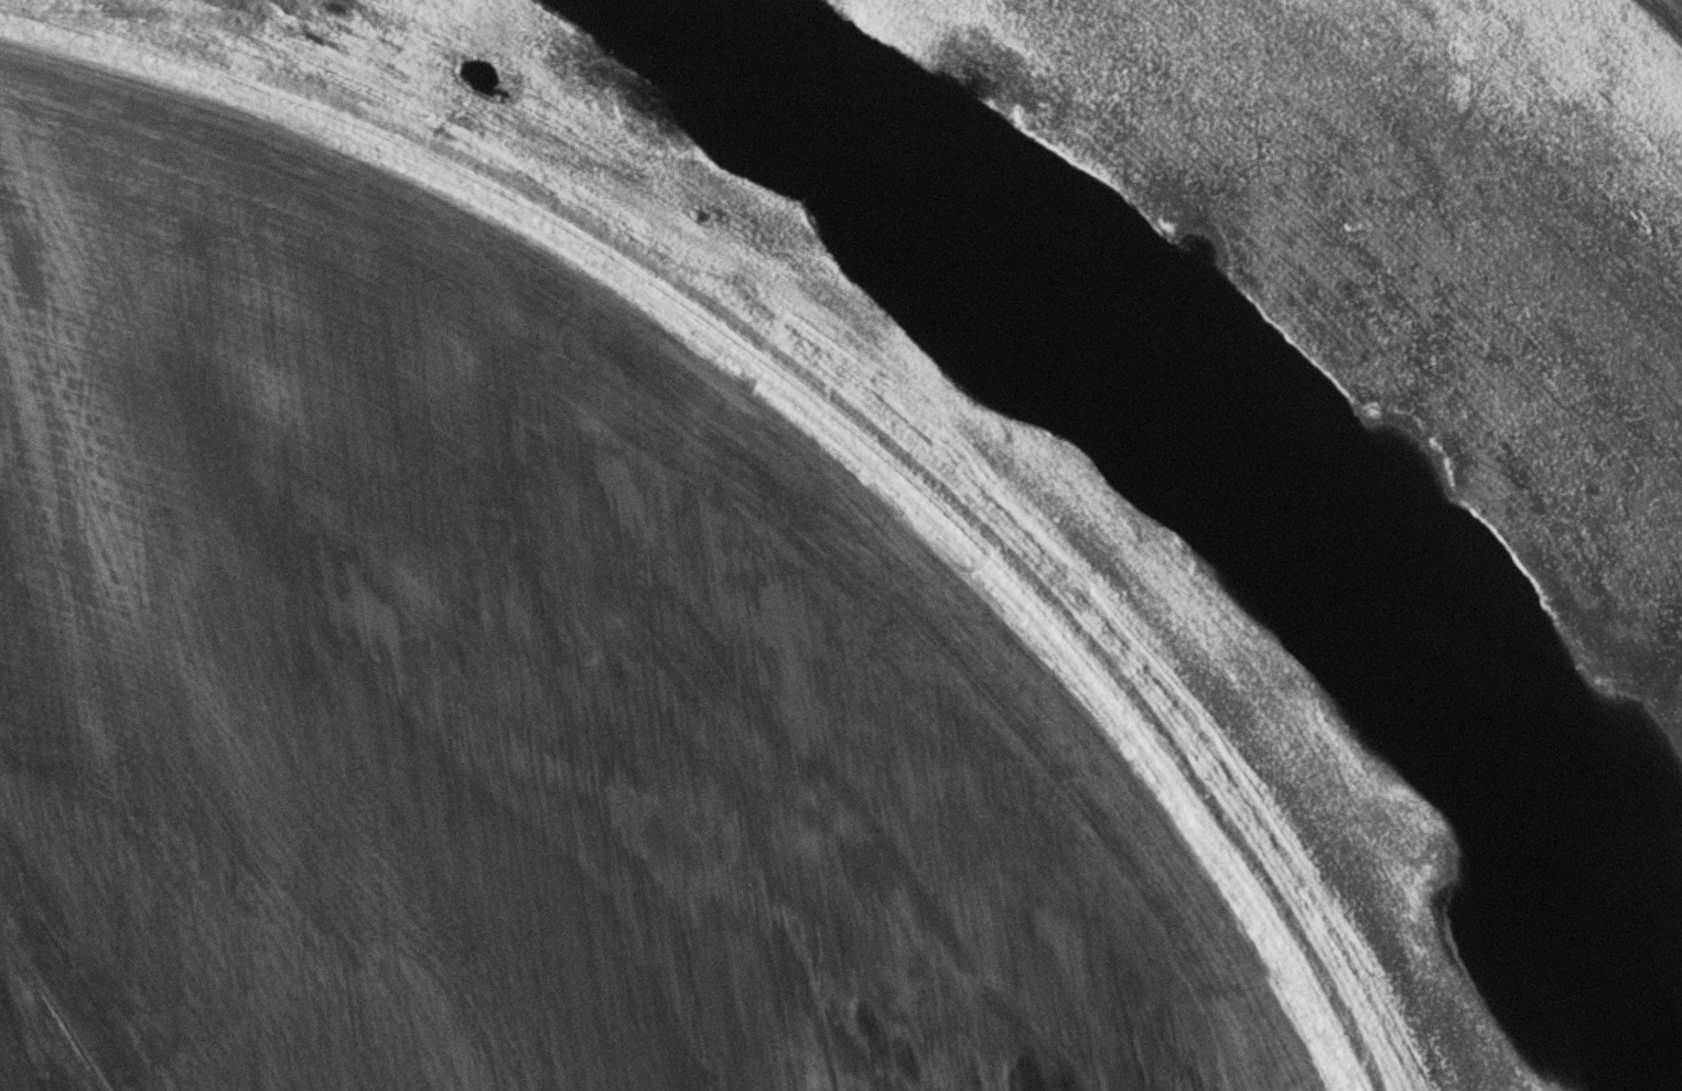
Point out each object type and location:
road: (905, 391)

